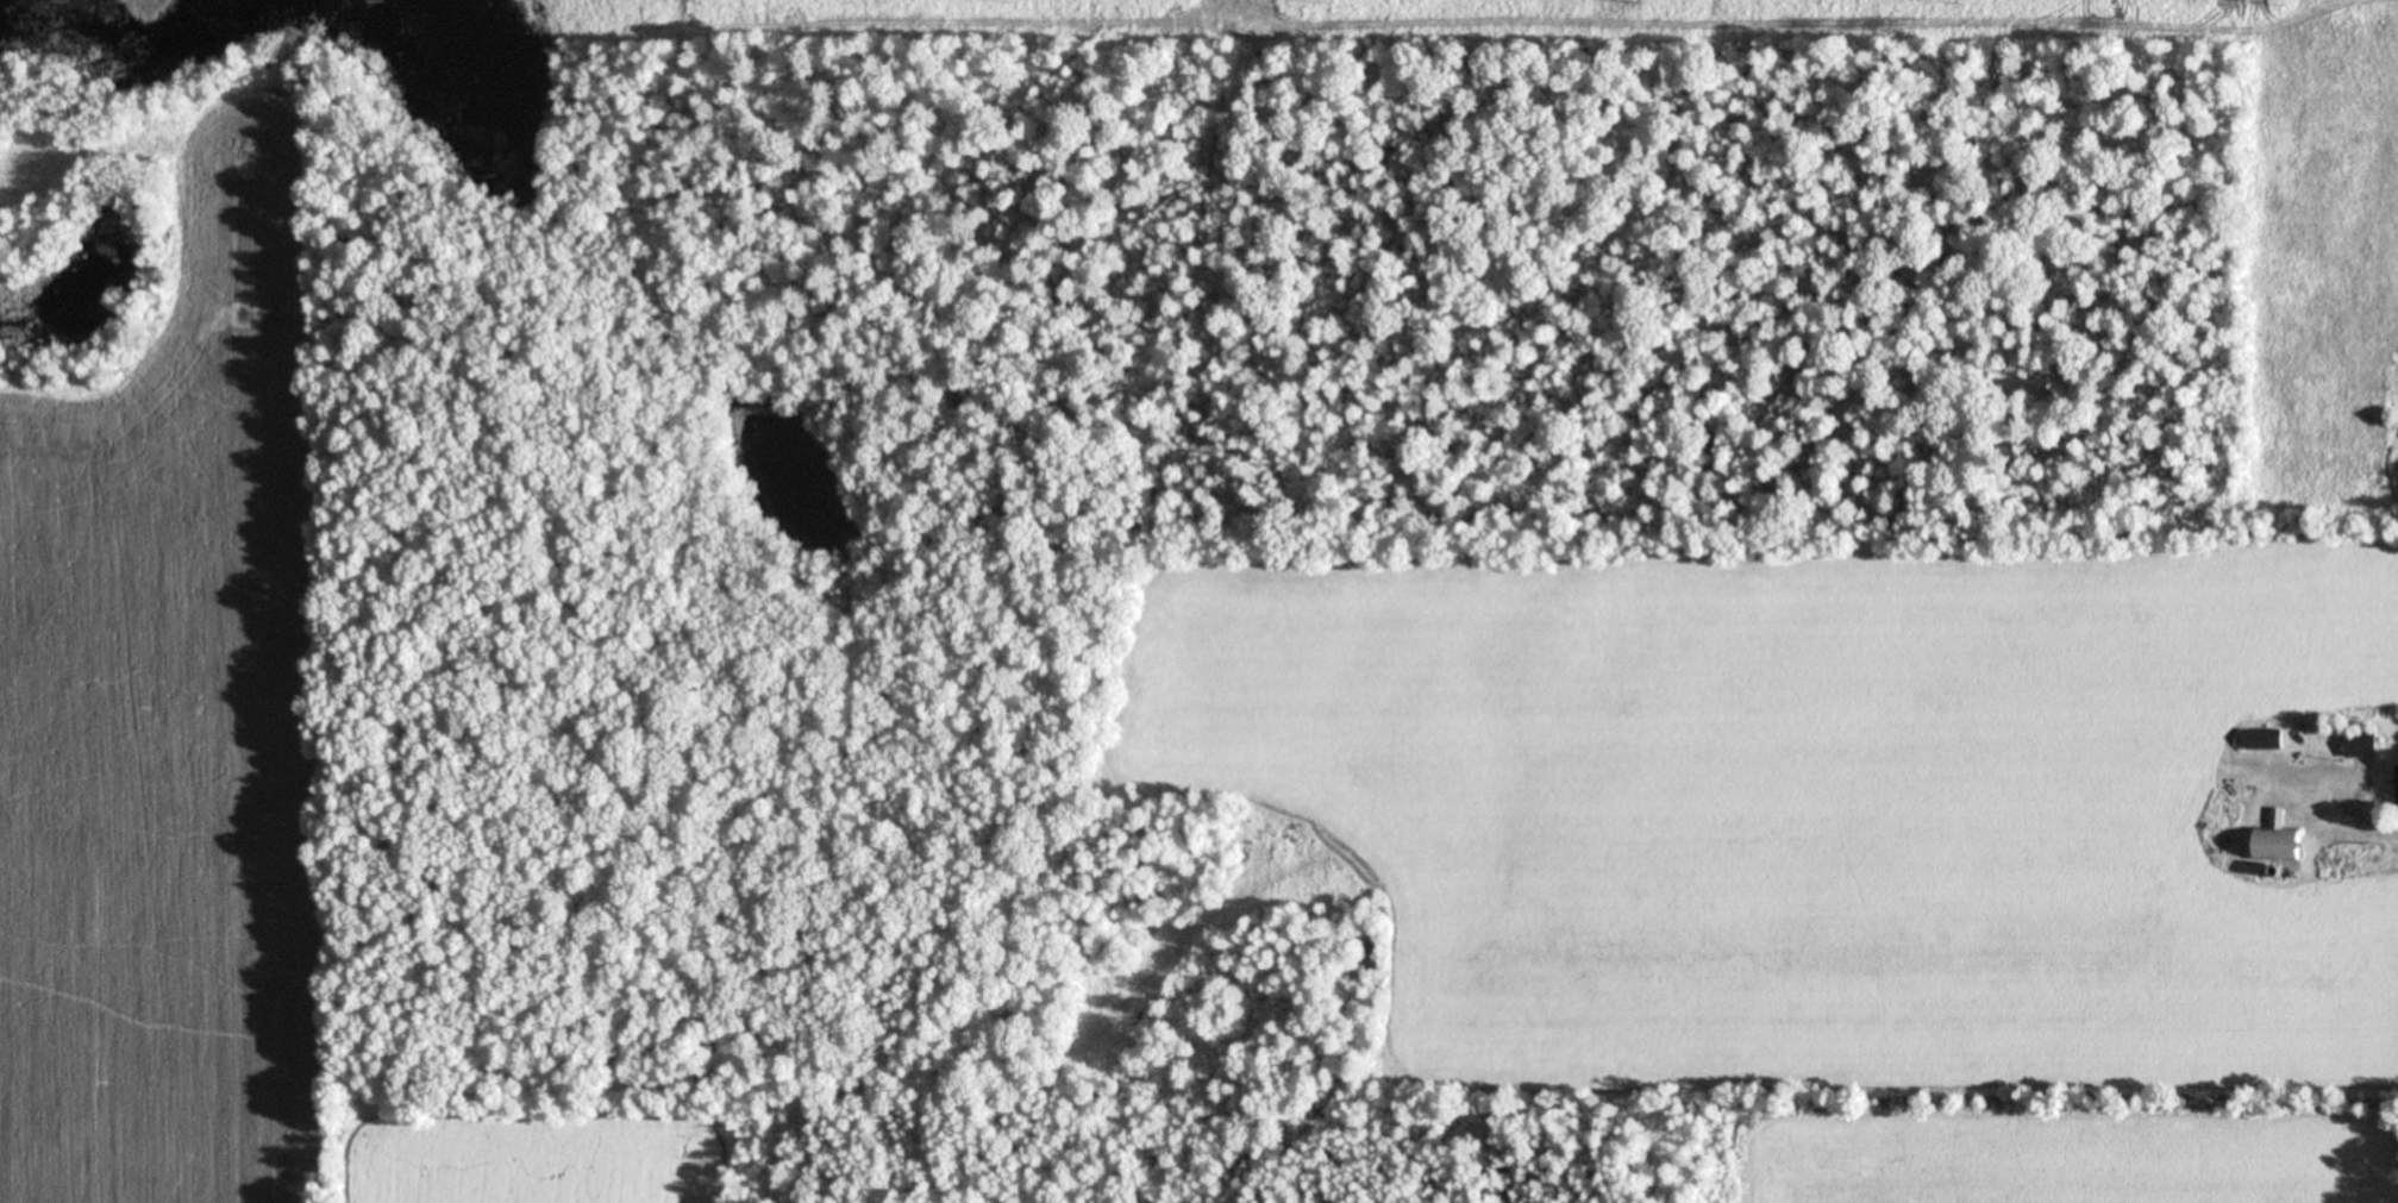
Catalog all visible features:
building: (2266, 739)
building: (2365, 746)
building: (2397, 785)
building: (2283, 847)

